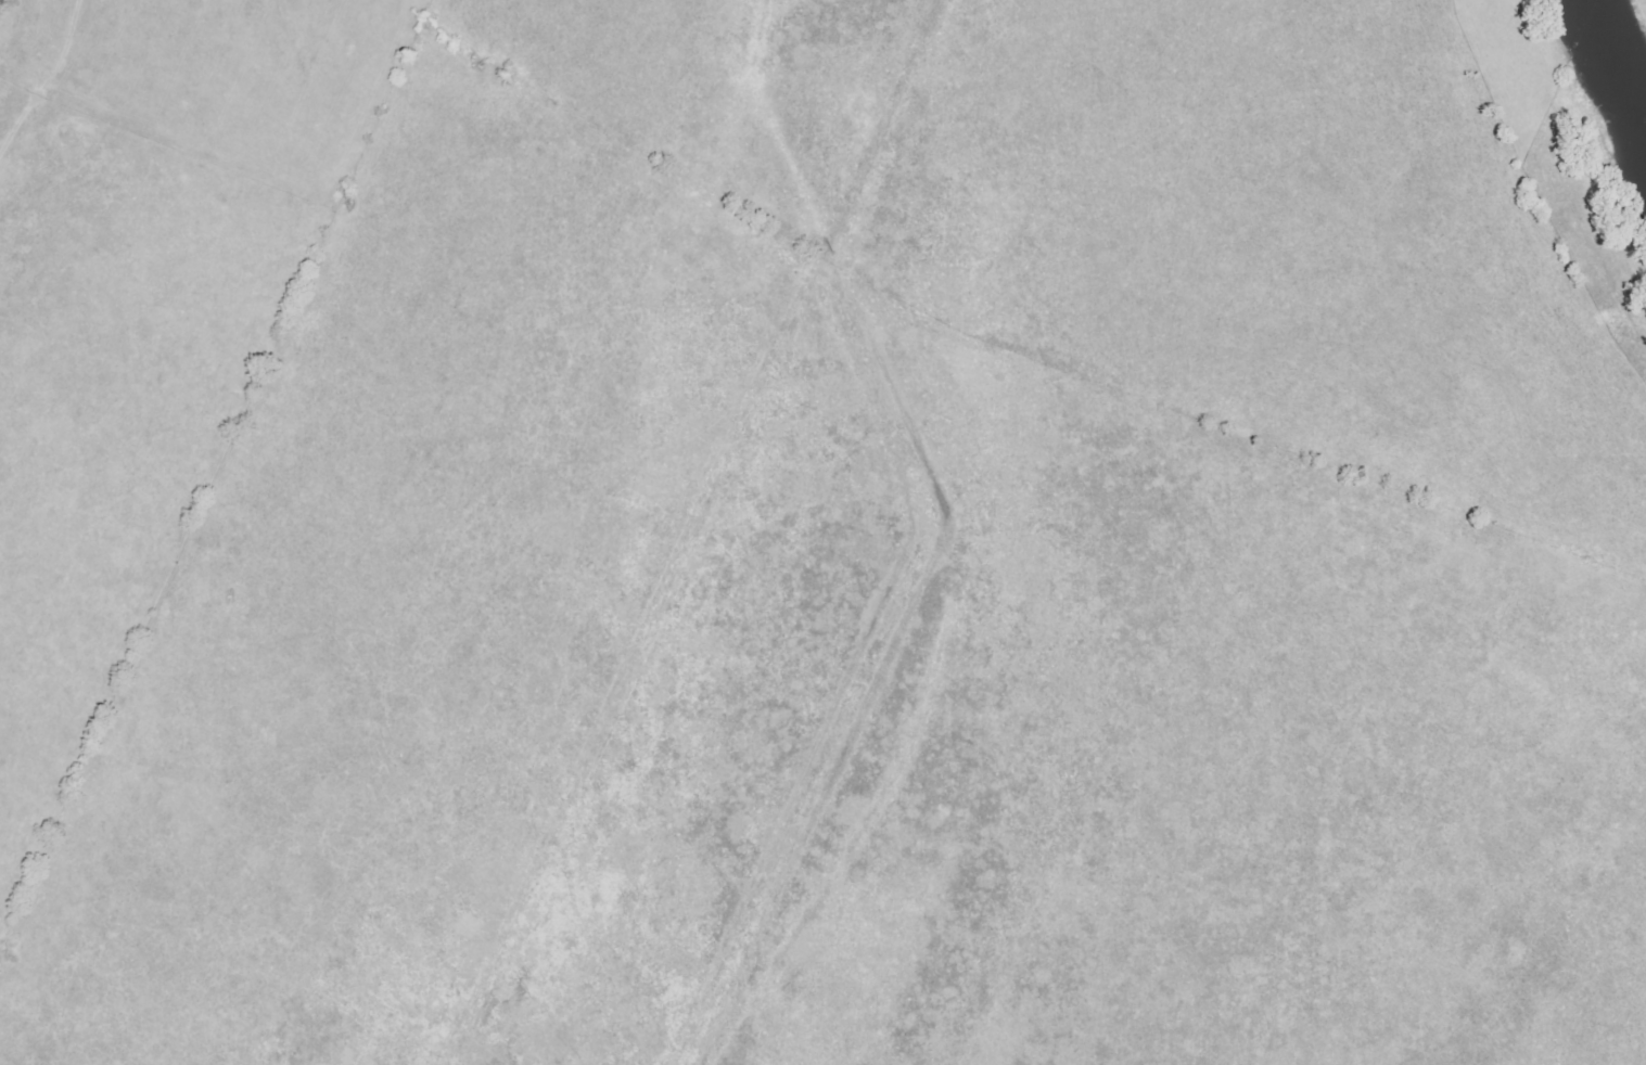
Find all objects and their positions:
road: (67, 126)

